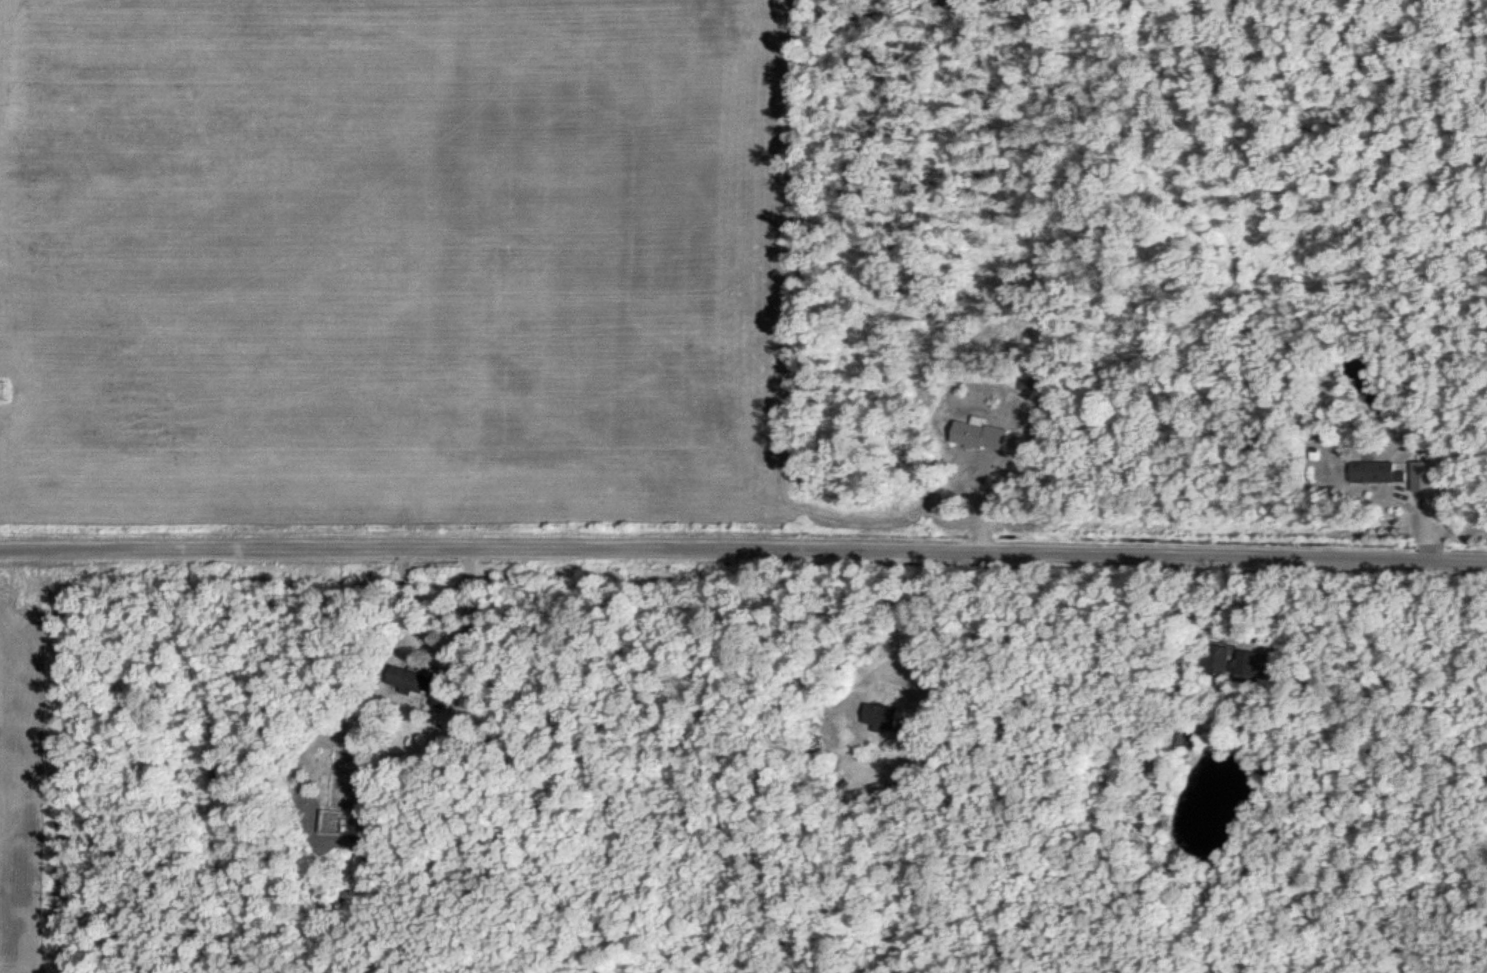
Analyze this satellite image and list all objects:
power tower: (0, 392)
building: (986, 436)
building: (1379, 471)
building: (1428, 475)
road: (743, 549)
road: (891, 611)
building: (1241, 661)
road: (429, 668)
building: (427, 684)
building: (942, 690)
building: (886, 716)
building: (346, 820)

